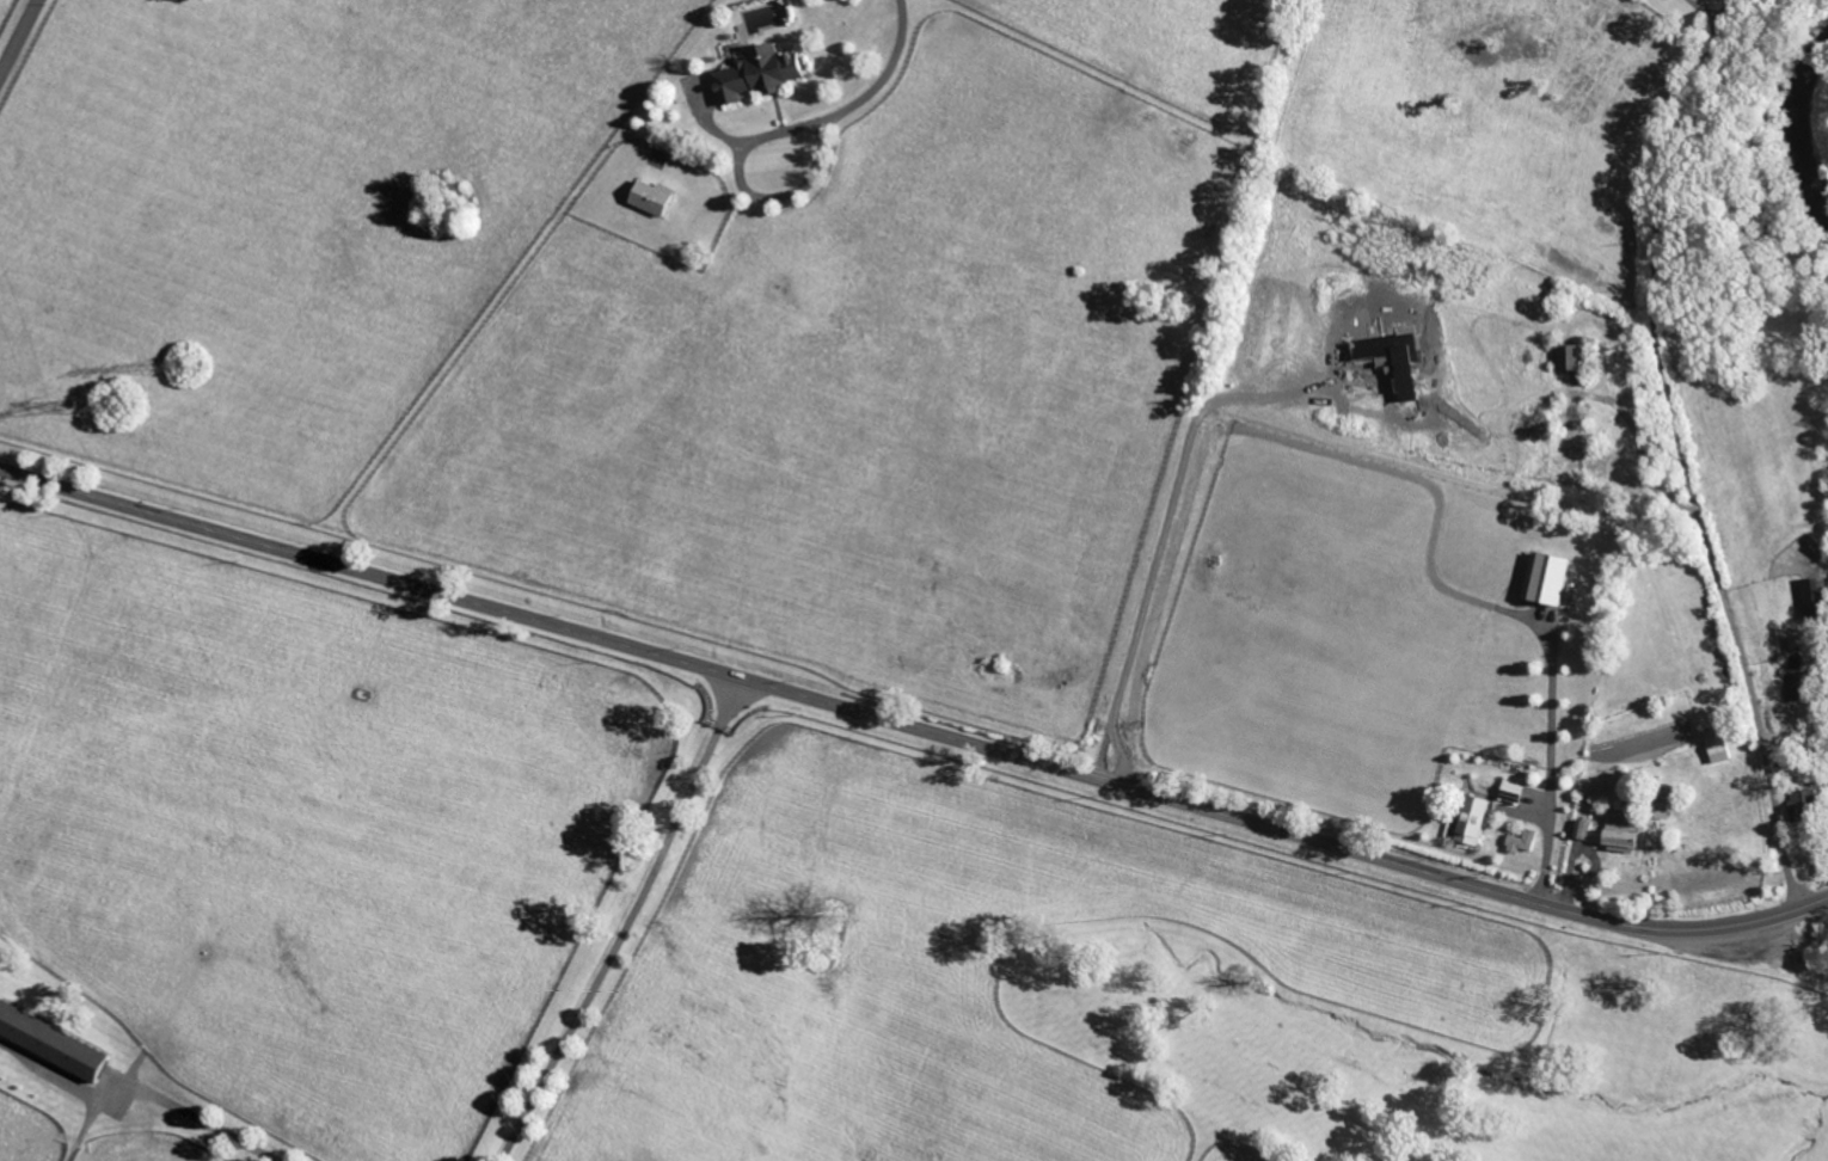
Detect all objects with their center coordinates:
road: (22, 43)
building: (752, 74)
road: (884, 78)
road: (747, 191)
power tower: (191, 361)
power tower: (125, 406)
road: (1685, 451)
road: (1390, 483)
building: (1544, 577)
building: (1798, 686)
road: (910, 727)
building: (1804, 804)
building: (1662, 809)
building: (1470, 819)
building: (1624, 835)
building: (1522, 840)
road: (633, 923)
building: (48, 1043)
road: (201, 1119)

